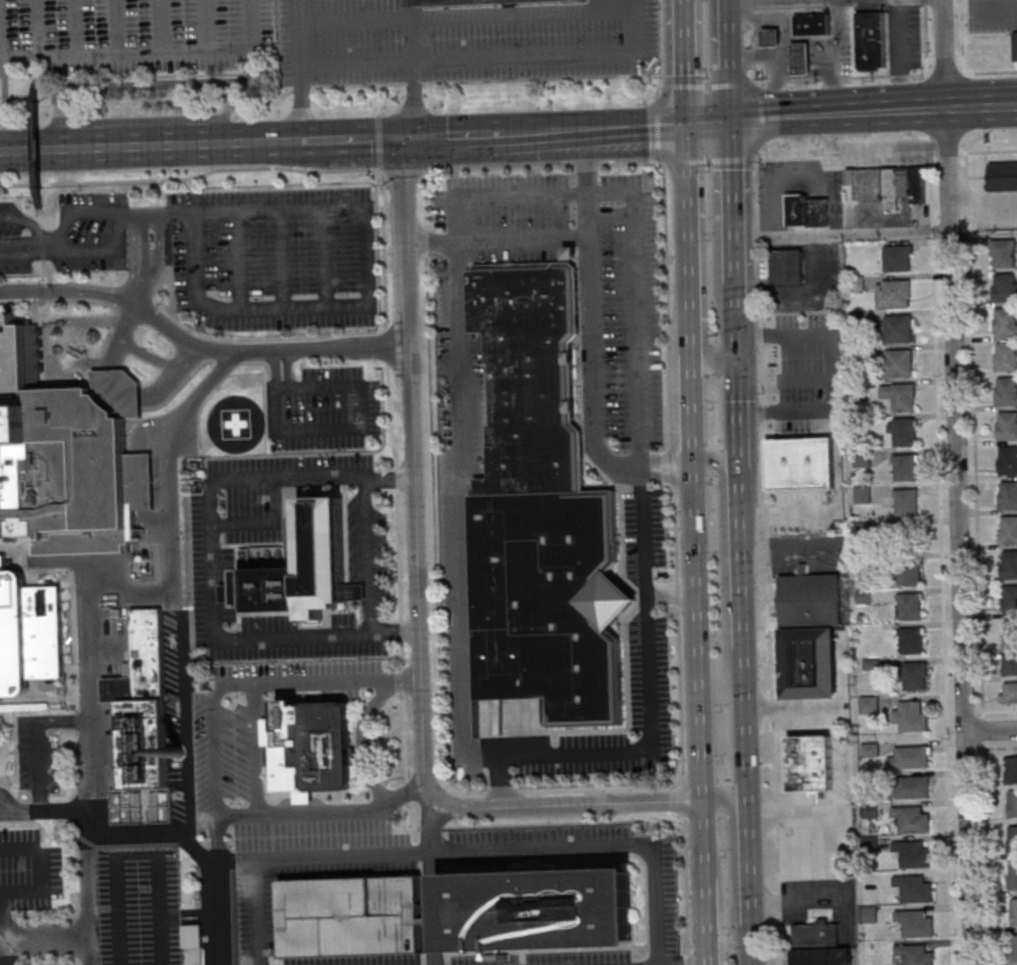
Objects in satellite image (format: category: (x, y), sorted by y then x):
road: (738, 0)
building: (467, 1)
road: (993, 10)
road: (354, 19)
road: (769, 20)
road: (770, 20)
road: (252, 23)
road: (208, 24)
road: (116, 25)
road: (161, 25)
building: (811, 25)
road: (75, 26)
road: (38, 27)
road: (959, 29)
road: (923, 30)
road: (726, 34)
building: (769, 38)
road: (775, 38)
road: (766, 39)
building: (869, 41)
road: (751, 43)
road: (799, 46)
building: (1014, 46)
road: (126, 50)
road: (828, 51)
road: (767, 53)
road: (550, 55)
road: (818, 55)
road: (827, 55)
road: (942, 55)
road: (800, 56)
road: (759, 58)
road: (783, 58)
building: (799, 59)
road: (356, 62)
road: (684, 63)
road: (413, 67)
road: (300, 69)
road: (250, 70)
road: (800, 70)
road: (902, 75)
road: (683, 79)
road: (772, 81)
road: (115, 83)
road: (730, 83)
road: (339, 84)
road: (707, 86)
road: (728, 97)
road: (377, 98)
road: (1002, 108)
road: (981, 109)
road: (961, 110)
road: (227, 111)
road: (760, 113)
road: (838, 115)
road: (0, 123)
traffic signals: (731, 125)
road: (660, 126)
road: (708, 126)
traffic signals: (686, 127)
road: (634, 128)
road: (574, 130)
road: (559, 131)
road: (525, 132)
road: (473, 134)
road: (426, 135)
road: (366, 137)
traffic signals: (404, 137)
road: (315, 139)
road: (272, 141)
road: (379, 142)
road: (37, 144)
road: (121, 145)
road: (764, 151)
road: (988, 151)
road: (954, 152)
road: (732, 159)
road: (708, 160)
road: (685, 162)
road: (949, 163)
road: (963, 163)
road: (687, 166)
road: (843, 166)
road: (403, 170)
building: (1003, 176)
road: (190, 178)
building: (889, 184)
road: (732, 205)
road: (982, 205)
road: (242, 208)
building: (810, 211)
road: (39, 212)
road: (74, 213)
road: (23, 219)
road: (39, 219)
road: (841, 232)
road: (40, 237)
road: (40, 242)
road: (432, 242)
road: (23, 246)
road: (97, 250)
building: (572, 252)
building: (1002, 254)
road: (134, 256)
road: (147, 257)
road: (325, 257)
road: (283, 258)
building: (896, 259)
road: (158, 260)
road: (240, 260)
road: (45, 266)
building: (787, 266)
road: (121, 281)
road: (690, 282)
road: (141, 284)
building: (1004, 288)
road: (66, 289)
road: (804, 292)
road: (118, 293)
road: (173, 293)
building: (892, 295)
road: (61, 299)
road: (141, 307)
road: (288, 309)
building: (1005, 322)
road: (735, 323)
building: (897, 329)
road: (111, 333)
road: (123, 334)
road: (48, 338)
road: (247, 339)
road: (264, 349)
road: (149, 354)
building: (1005, 357)
traffic signals: (737, 362)
building: (900, 364)
road: (714, 366)
road: (288, 368)
road: (275, 369)
building: (530, 372)
road: (172, 374)
road: (828, 375)
road: (123, 387)
building: (121, 390)
building: (1006, 393)
building: (902, 397)
road: (691, 411)
road: (736, 416)
helipad: (237, 423)
building: (1006, 427)
road: (361, 428)
building: (806, 430)
building: (903, 432)
road: (974, 435)
road: (669, 445)
building: (64, 458)
road: (715, 460)
building: (1007, 461)
building: (904, 469)
road: (393, 478)
building: (1007, 496)
building: (905, 503)
road: (266, 522)
building: (1008, 531)
building: (907, 538)
road: (958, 538)
road: (369, 556)
road: (738, 560)
road: (767, 561)
road: (942, 563)
building: (1008, 566)
road: (212, 568)
building: (300, 568)
building: (908, 573)
road: (172, 582)
road: (130, 595)
road: (670, 596)
building: (811, 600)
building: (1009, 600)
building: (549, 601)
road: (419, 603)
building: (910, 608)
building: (28, 631)
road: (403, 633)
road: (695, 633)
building: (1010, 635)
road: (402, 638)
building: (911, 642)
road: (467, 653)
building: (142, 660)
building: (1010, 665)
building: (171, 666)
building: (809, 666)
building: (914, 677)
road: (232, 683)
building: (1009, 692)
building: (869, 704)
street lamp: (73, 710)
road: (999, 711)
building: (912, 717)
road: (65, 721)
road: (744, 728)
road: (990, 729)
road: (982, 730)
building: (143, 743)
building: (311, 747)
road: (257, 748)
road: (996, 748)
building: (911, 757)
road: (89, 762)
building: (810, 764)
road: (41, 765)
building: (1011, 769)
road: (501, 779)
building: (910, 787)
road: (402, 795)
road: (5, 802)
building: (1012, 803)
building: (141, 805)
building: (870, 809)
road: (298, 812)
road: (792, 814)
building: (910, 818)
road: (46, 830)
road: (158, 833)
building: (1011, 839)
road: (702, 840)
road: (127, 846)
road: (494, 851)
building: (911, 853)
road: (986, 853)
road: (138, 855)
road: (194, 858)
road: (747, 865)
road: (44, 869)
road: (732, 869)
building: (1012, 875)
road: (432, 881)
building: (911, 887)
road: (205, 891)
road: (798, 903)
road: (718, 905)
road: (161, 909)
building: (538, 909)
road: (119, 910)
building: (1013, 911)
road: (190, 913)
road: (258, 913)
building: (350, 914)
building: (867, 914)
road: (206, 916)
road: (191, 921)
road: (704, 921)
building: (913, 922)
road: (0, 929)
road: (206, 930)
building: (193, 935)
road: (749, 936)
road: (4, 937)
road: (45, 937)
road: (206, 938)
building: (819, 944)
building: (1013, 947)
building: (913, 954)
road: (750, 957)
road: (696, 964)

